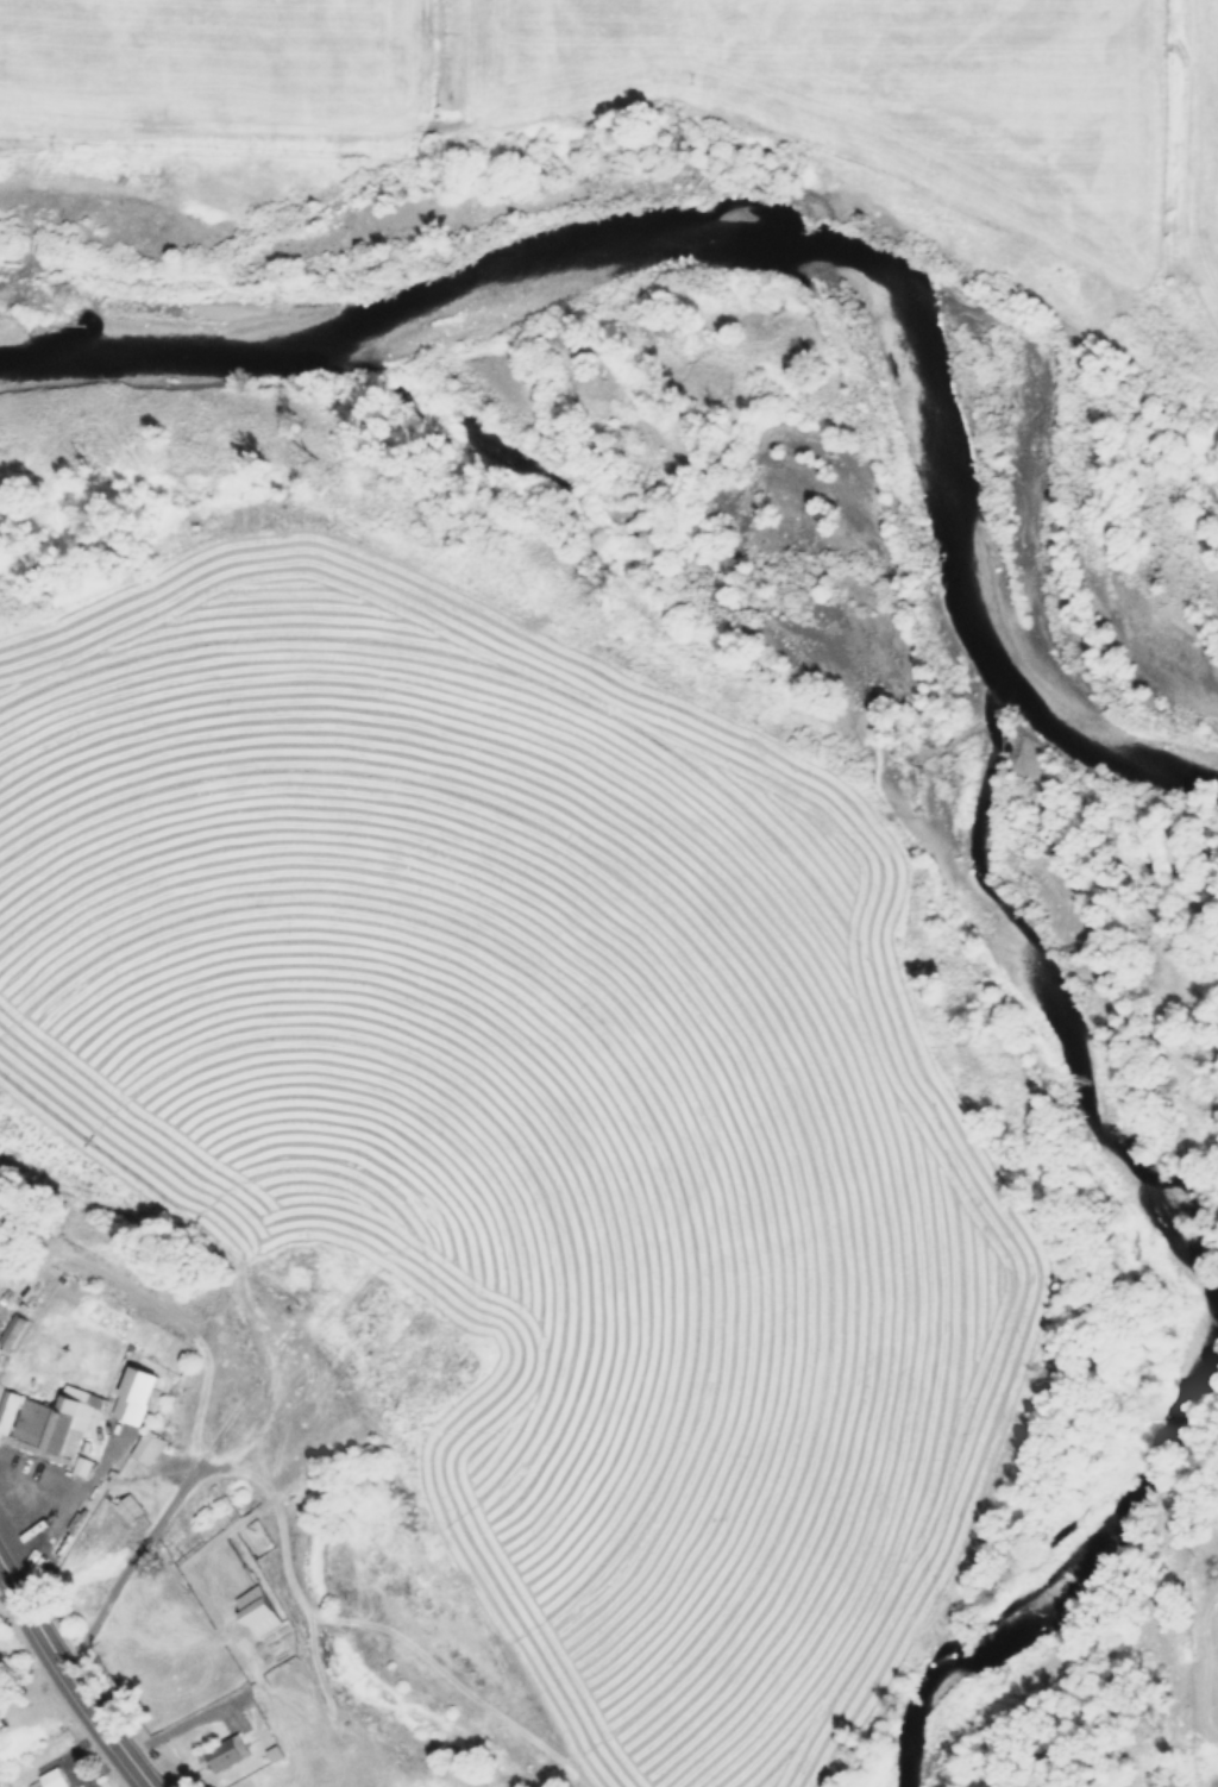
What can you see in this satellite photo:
river: (635, 243)
river: (1103, 735)
river: (1163, 1237)
building: (10, 1333)
building: (128, 1399)
building: (46, 1421)
building: (142, 1451)
building: (125, 1511)
road: (0, 1555)
building: (251, 1613)
road: (73, 1673)
building: (270, 1755)
building: (214, 1758)
building: (54, 1774)
building: (32, 1783)

